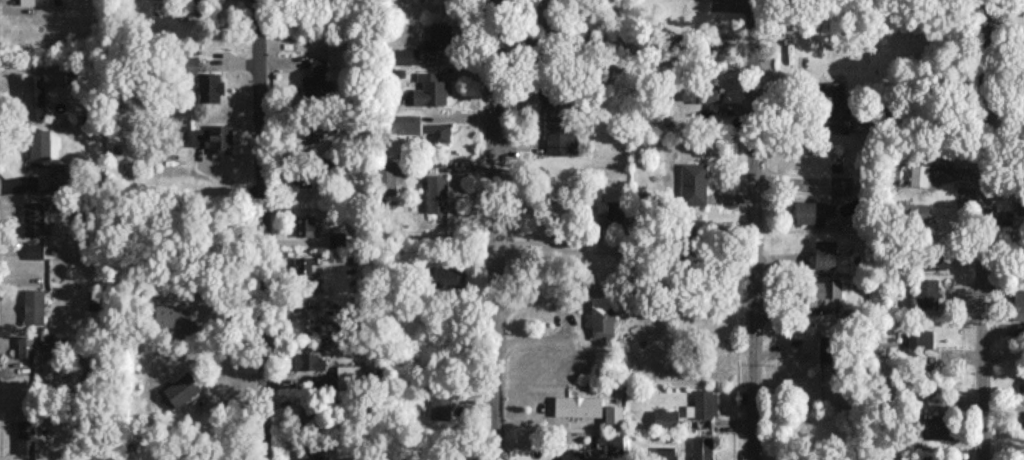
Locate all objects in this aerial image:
building: (27, 1)
building: (438, 36)
building: (405, 55)
building: (203, 81)
building: (316, 82)
building: (428, 90)
building: (701, 93)
building: (34, 96)
building: (558, 121)
building: (405, 123)
building: (438, 131)
building: (309, 133)
building: (212, 137)
building: (44, 144)
building: (919, 174)
building: (61, 176)
building: (386, 176)
building: (693, 183)
building: (841, 184)
building: (436, 192)
building: (1020, 205)
building: (812, 211)
building: (913, 211)
building: (608, 213)
building: (33, 218)
building: (304, 225)
building: (696, 227)
road: (492, 229)
road: (260, 230)
road: (749, 230)
road: (983, 230)
building: (336, 238)
road: (550, 244)
building: (34, 250)
building: (824, 253)
building: (933, 261)
building: (302, 265)
building: (448, 276)
building: (822, 289)
building: (926, 290)
building: (1018, 304)
building: (33, 306)
building: (174, 317)
building: (601, 317)
building: (918, 340)
building: (24, 346)
building: (827, 348)
building: (601, 359)
building: (309, 361)
building: (348, 375)
building: (181, 389)
building: (705, 403)
building: (440, 404)
building: (578, 405)
building: (305, 415)
building: (613, 416)
building: (666, 418)
building: (935, 430)
building: (25, 436)
building: (609, 440)
building: (702, 447)
building: (314, 452)
building: (665, 452)
building: (568, 455)

